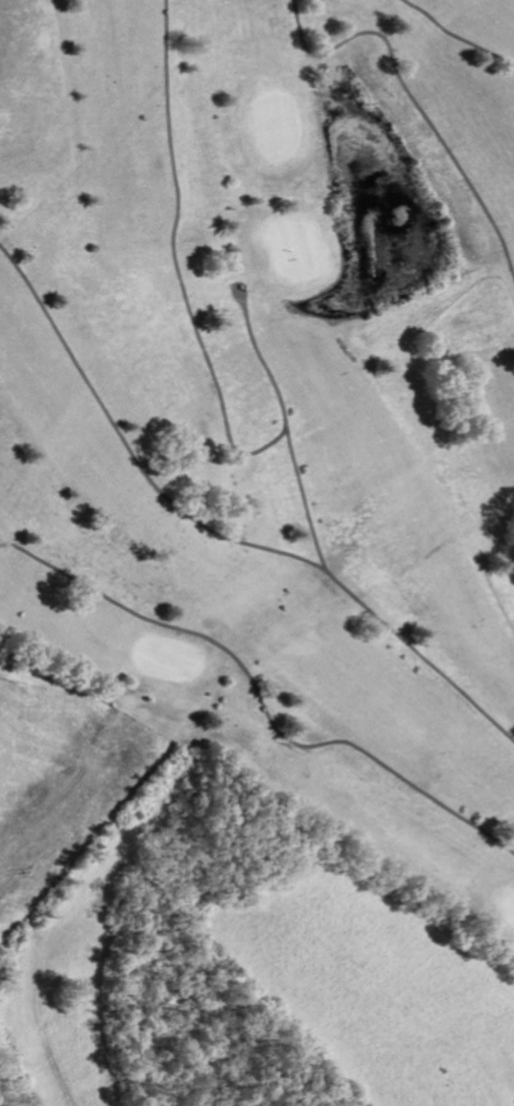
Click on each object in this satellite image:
road: (456, 35)
road: (414, 99)
road: (173, 262)
road: (279, 400)
road: (219, 533)
road: (258, 698)

